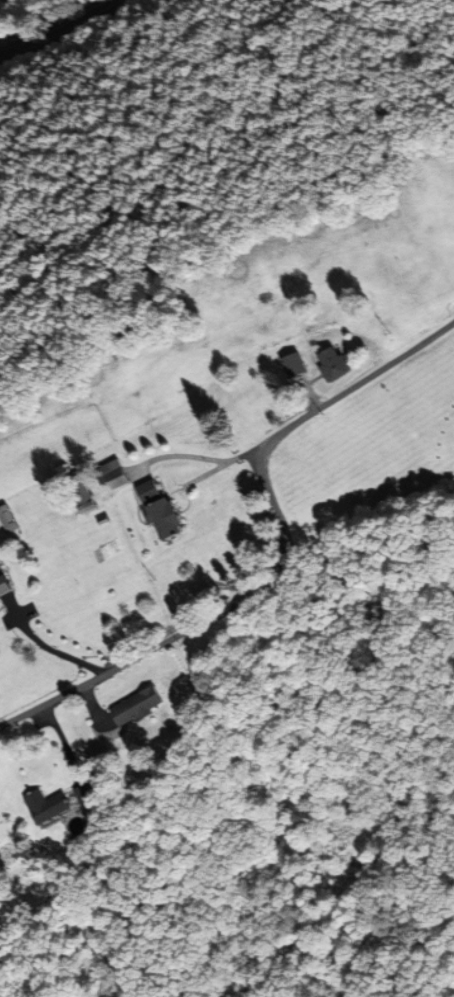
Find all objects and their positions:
road: (63, 26)
building: (334, 362)
building: (295, 367)
building: (188, 392)
building: (114, 475)
building: (83, 499)
building: (162, 511)
building: (8, 518)
road: (286, 556)
building: (4, 585)
building: (138, 706)
building: (85, 792)
building: (47, 806)
building: (77, 826)

